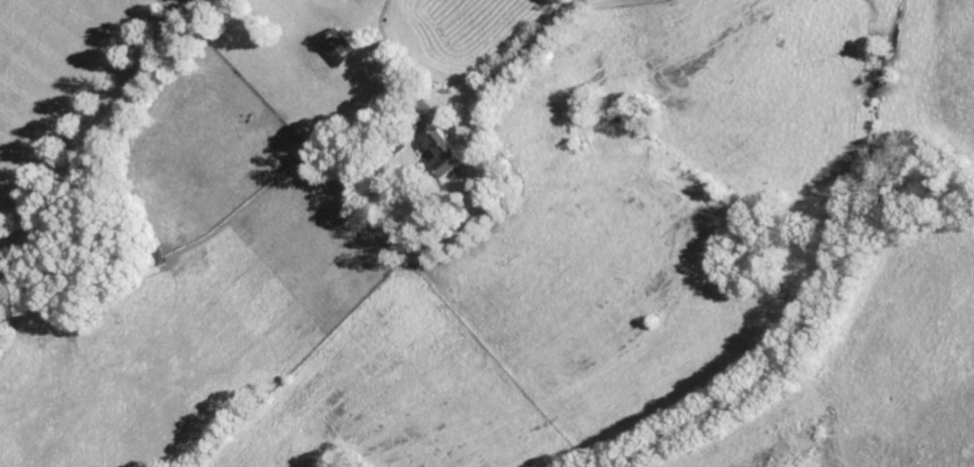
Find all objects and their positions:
building: (338, 46)
road: (517, 59)
building: (400, 146)
building: (446, 152)

